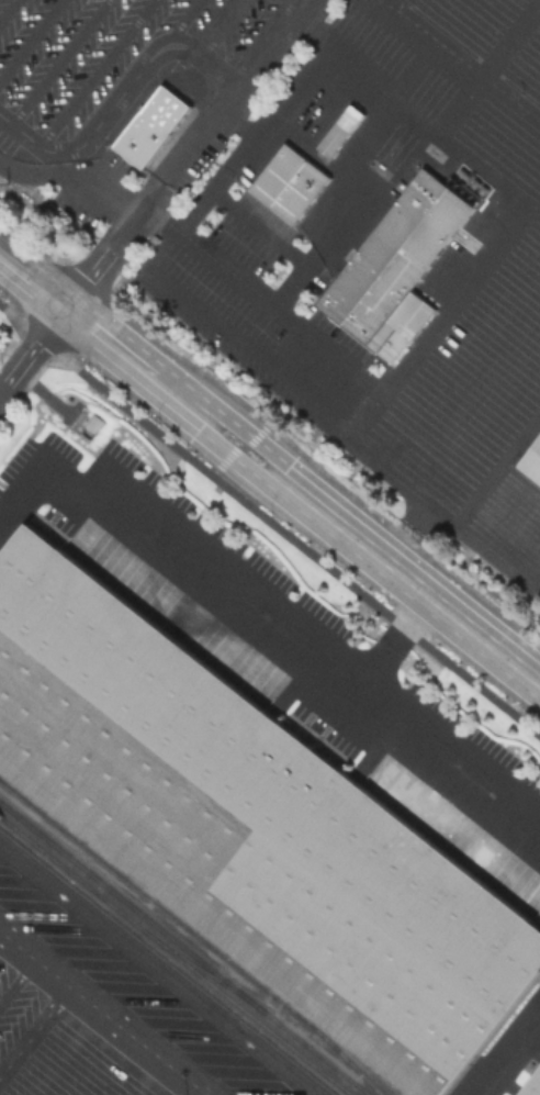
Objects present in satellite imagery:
road: (7, 9)
road: (180, 25)
road: (218, 27)
road: (30, 40)
road: (328, 48)
road: (57, 63)
road: (97, 72)
road: (234, 90)
road: (121, 99)
building: (154, 127)
building: (341, 132)
building: (290, 183)
road: (115, 245)
road: (290, 252)
road: (227, 266)
building: (397, 267)
road: (207, 315)
road: (95, 329)
road: (33, 348)
road: (401, 366)
road: (251, 436)
road: (240, 447)
road: (233, 457)
building: (532, 461)
road: (269, 521)
road: (403, 534)
road: (416, 585)
road: (418, 614)
road: (272, 630)
road: (380, 662)
building: (251, 827)
railway: (192, 934)
railway: (182, 950)
railway: (172, 958)
railway: (200, 972)
road: (97, 1017)
road: (510, 1057)
building: (535, 1087)

